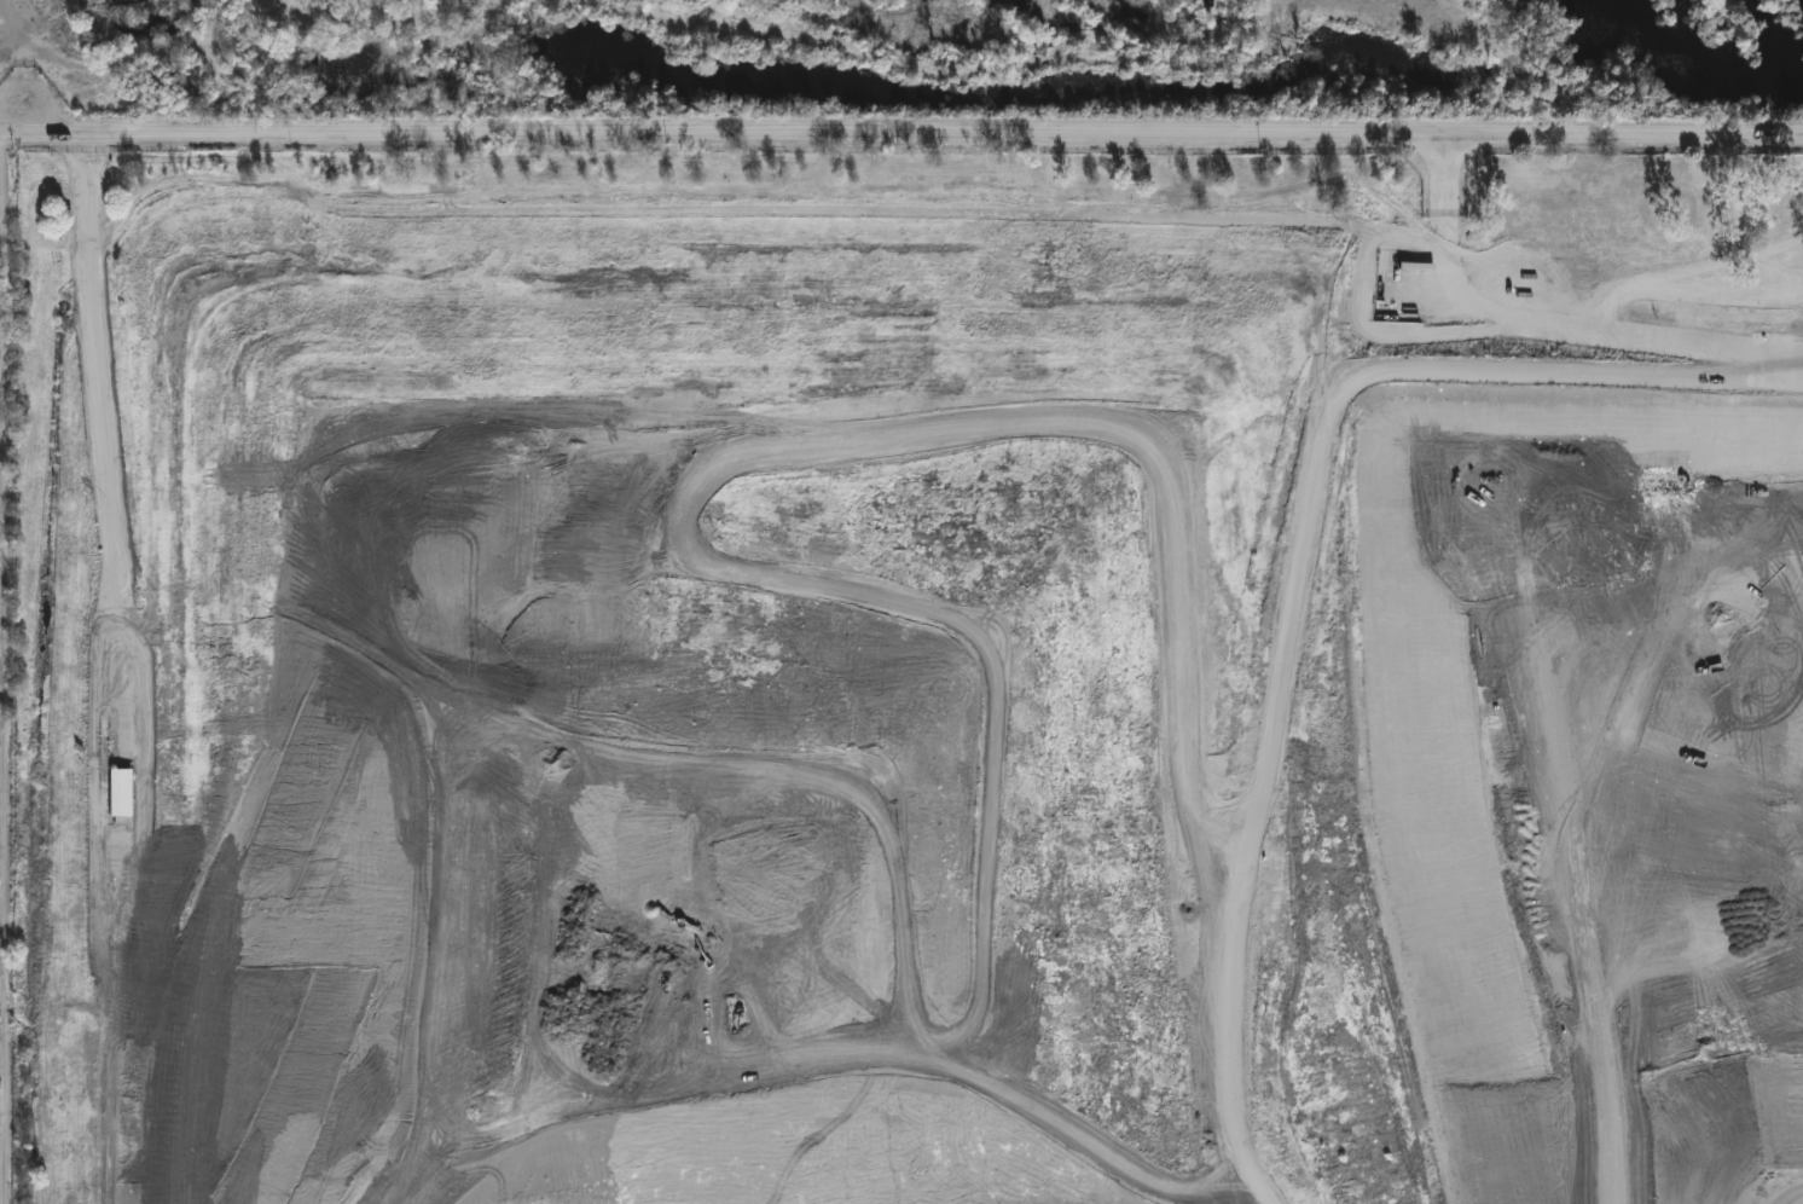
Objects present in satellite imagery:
building: (269, 2)
building: (1450, 18)
building: (676, 133)
road: (1407, 133)
road: (505, 134)
road: (1549, 329)
road: (6, 668)
road: (126, 670)
landfill: (918, 712)
building: (121, 795)

